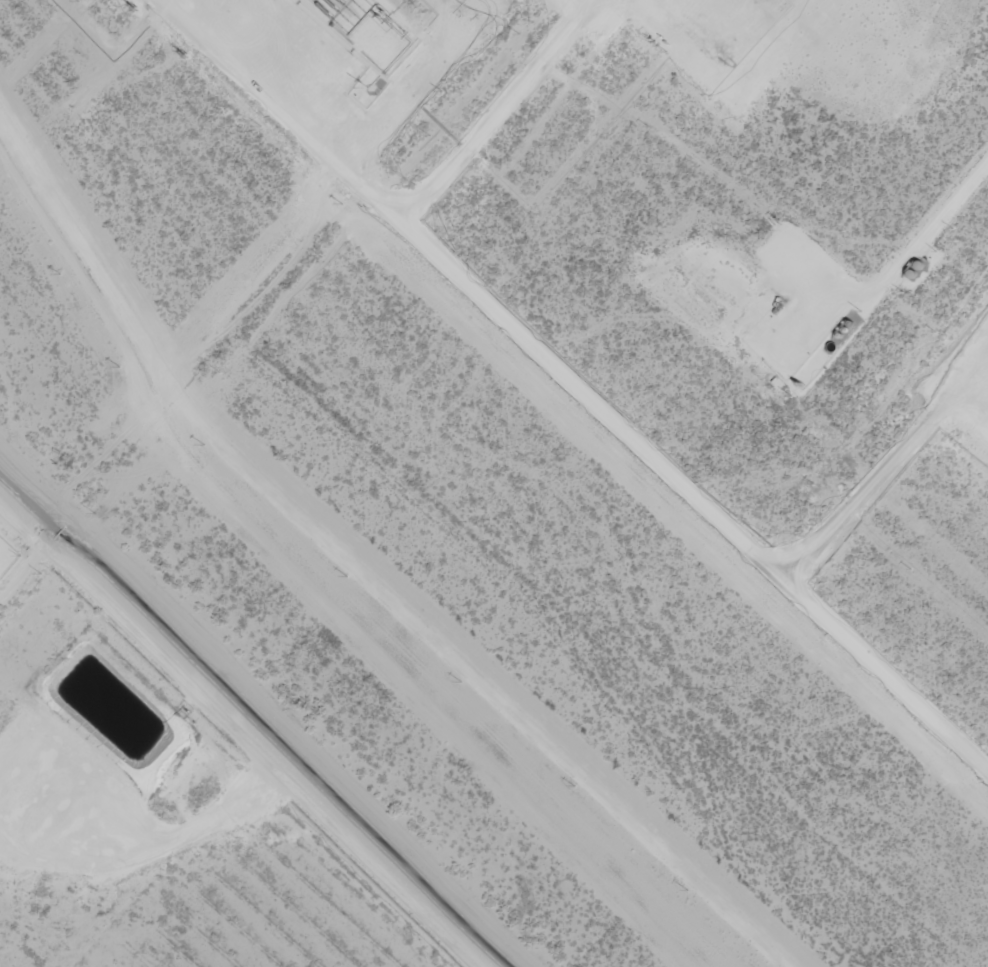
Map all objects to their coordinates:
road: (22, 559)
road: (241, 731)

